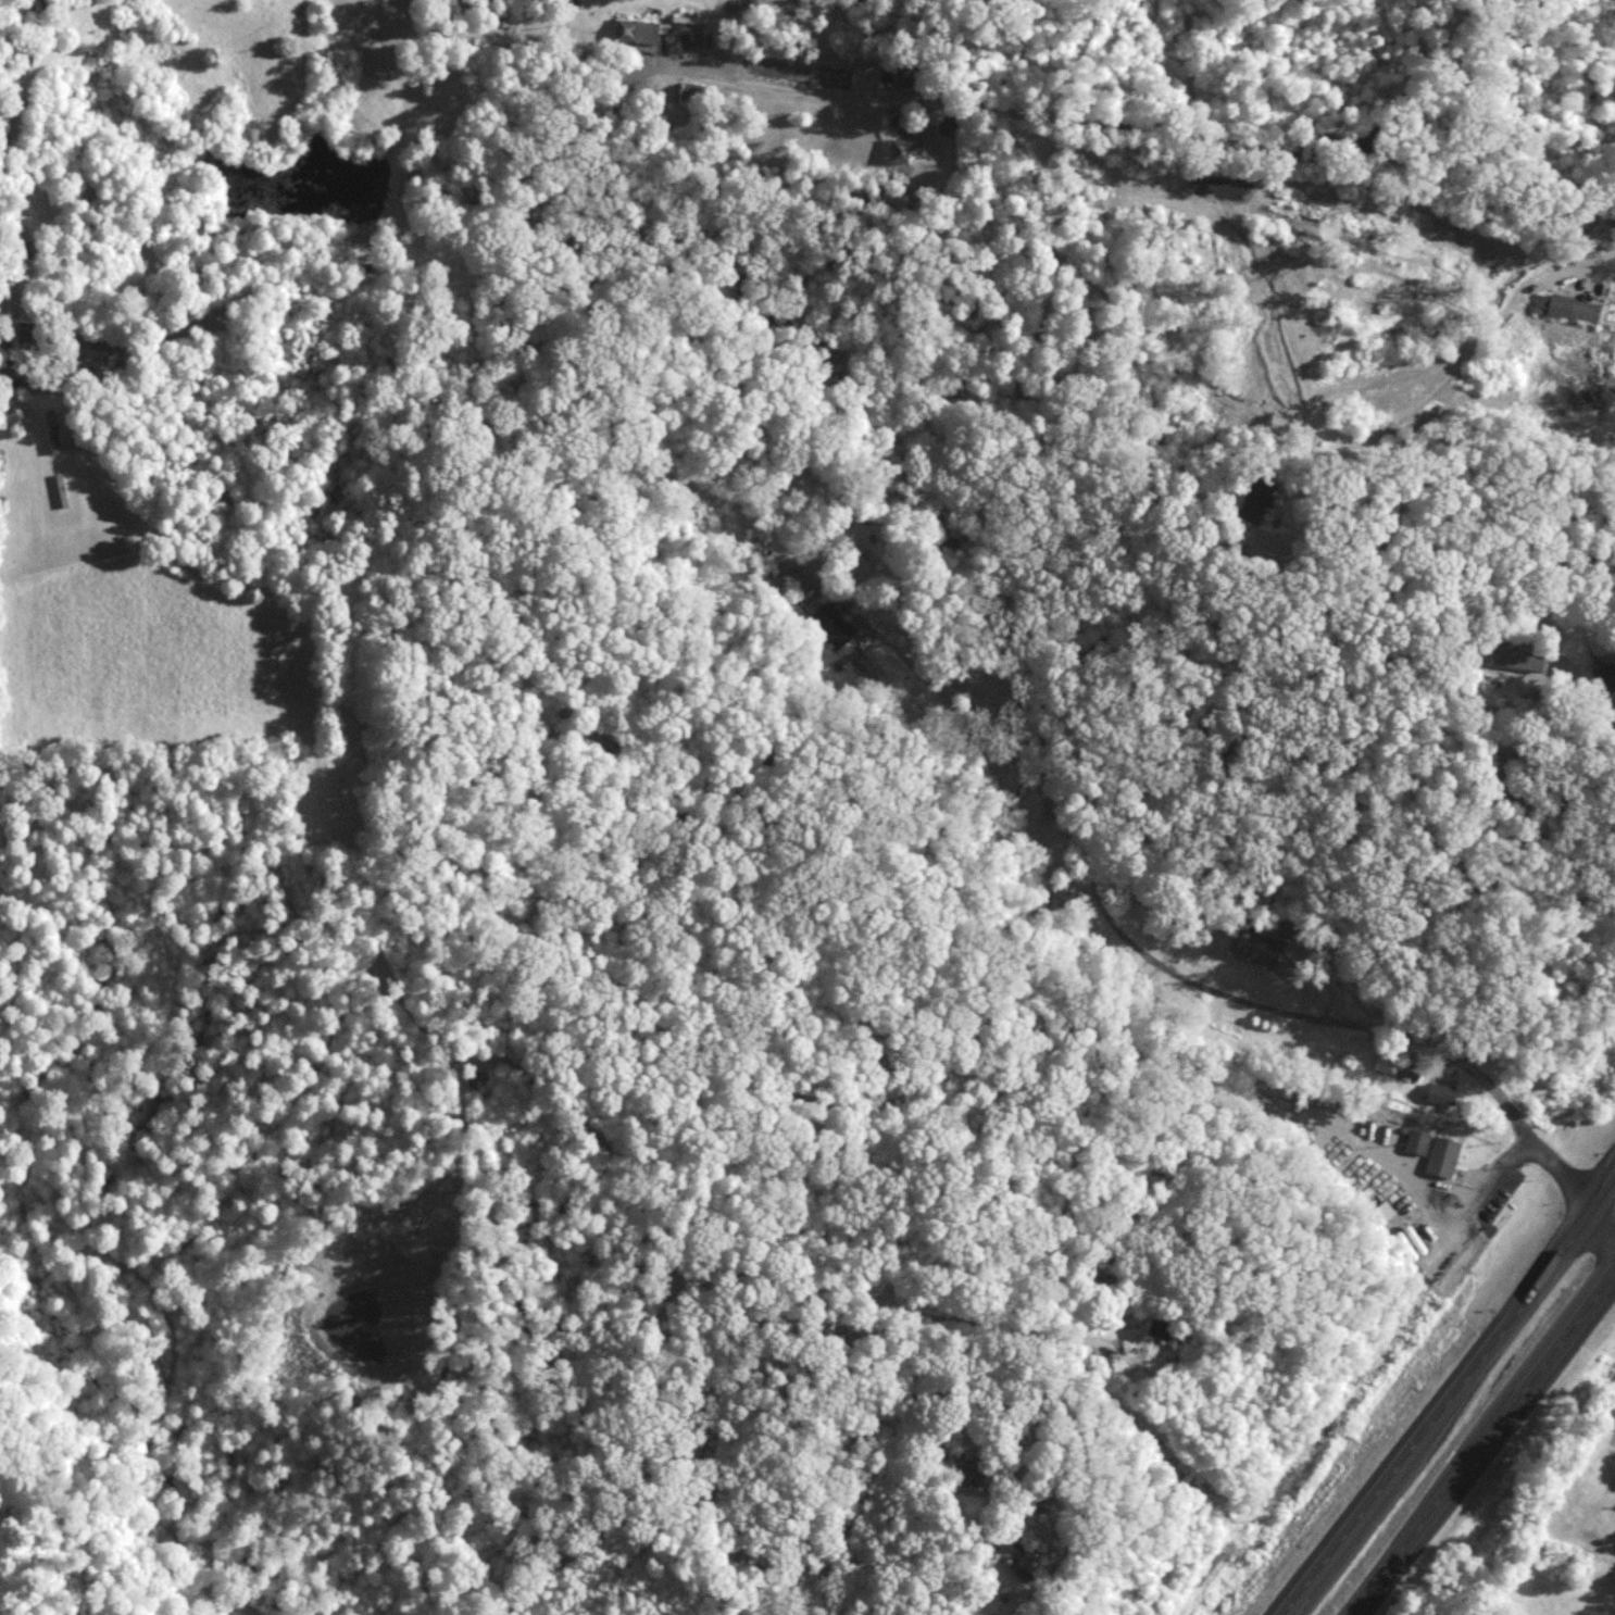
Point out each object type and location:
building: (636, 29)
building: (905, 73)
building: (950, 122)
road: (1128, 123)
building: (905, 148)
road: (1592, 265)
building: (1568, 305)
road: (3, 353)
building: (1256, 498)
building: (779, 575)
building: (830, 625)
building: (1605, 676)
road: (1602, 716)
road: (1190, 980)
building: (1443, 1092)
building: (1417, 1140)
building: (1442, 1155)
road: (1457, 1214)
road: (1604, 1227)
road: (708, 1272)
road: (1001, 1324)
building: (1159, 1328)
road: (1499, 1342)
road: (1488, 1449)
road: (1327, 1557)
building: (1027, 1561)

